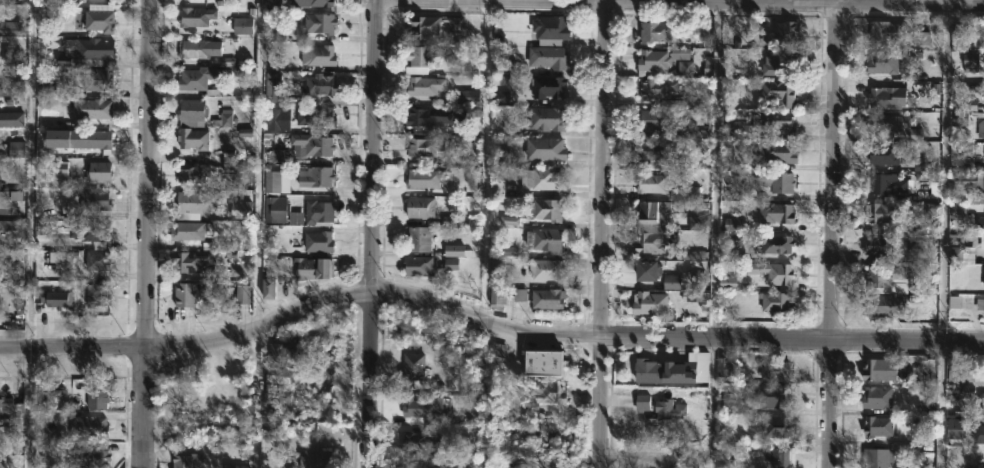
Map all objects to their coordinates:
building: (100, 0)
road: (491, 2)
road: (743, 2)
road: (866, 2)
road: (951, 2)
building: (318, 4)
road: (680, 4)
building: (195, 16)
building: (98, 17)
building: (318, 25)
building: (432, 25)
building: (549, 29)
building: (959, 29)
building: (660, 30)
building: (705, 34)
building: (780, 34)
building: (898, 34)
building: (193, 48)
building: (87, 52)
building: (317, 55)
building: (548, 57)
building: (655, 58)
building: (417, 59)
building: (883, 62)
building: (970, 62)
building: (773, 63)
building: (685, 67)
building: (97, 79)
building: (198, 79)
building: (320, 84)
building: (421, 85)
building: (272, 86)
building: (976, 86)
building: (547, 87)
building: (655, 88)
building: (778, 92)
building: (887, 97)
building: (93, 108)
building: (191, 113)
building: (296, 116)
building: (427, 117)
building: (649, 118)
building: (543, 119)
building: (959, 119)
building: (762, 126)
building: (894, 126)
building: (981, 127)
building: (91, 138)
building: (192, 139)
building: (312, 144)
building: (423, 146)
building: (544, 148)
building: (970, 149)
building: (776, 152)
building: (659, 154)
building: (881, 154)
building: (919, 164)
road: (484, 165)
building: (59, 171)
building: (97, 172)
building: (193, 172)
building: (315, 176)
building: (922, 176)
building: (420, 177)
building: (543, 179)
building: (275, 181)
building: (776, 181)
building: (653, 183)
building: (884, 184)
building: (935, 190)
building: (684, 193)
building: (93, 199)
building: (194, 201)
building: (3, 202)
building: (419, 206)
building: (274, 209)
building: (546, 209)
building: (654, 211)
building: (318, 212)
building: (775, 213)
building: (882, 213)
building: (698, 223)
building: (730, 224)
building: (982, 224)
building: (84, 229)
building: (2, 231)
building: (190, 231)
road: (30, 233)
road: (371, 233)
road: (145, 234)
road: (258, 234)
road: (601, 234)
road: (712, 235)
road: (832, 236)
road: (943, 236)
building: (418, 239)
building: (544, 240)
building: (654, 241)
building: (981, 241)
building: (317, 242)
building: (776, 244)
building: (880, 245)
building: (915, 246)
building: (690, 255)
building: (96, 260)
building: (189, 261)
building: (418, 266)
building: (312, 268)
building: (545, 268)
building: (648, 270)
building: (774, 272)
building: (883, 275)
building: (698, 278)
building: (671, 282)
building: (728, 283)
building: (983, 283)
building: (271, 290)
building: (187, 294)
building: (244, 295)
building: (520, 295)
building: (97, 297)
building: (55, 298)
building: (497, 298)
building: (548, 298)
building: (775, 302)
building: (649, 303)
building: (979, 304)
building: (884, 305)
road: (483, 326)
building: (284, 356)
building: (543, 363)
building: (700, 365)
building: (412, 366)
building: (723, 367)
building: (880, 370)
building: (774, 371)
building: (663, 372)
building: (951, 375)
building: (968, 375)
building: (958, 391)
building: (544, 393)
building: (274, 396)
building: (771, 396)
building: (878, 397)
building: (96, 399)
building: (57, 400)
building: (982, 401)
building: (642, 402)
building: (730, 404)
building: (421, 407)
building: (10, 409)
building: (668, 409)
building: (877, 426)
building: (89, 427)
building: (775, 427)
building: (955, 428)
building: (983, 434)
building: (420, 442)
building: (98, 456)
building: (777, 457)
building: (878, 458)
building: (185, 459)
building: (314, 459)
building: (643, 462)
building: (417, 463)

